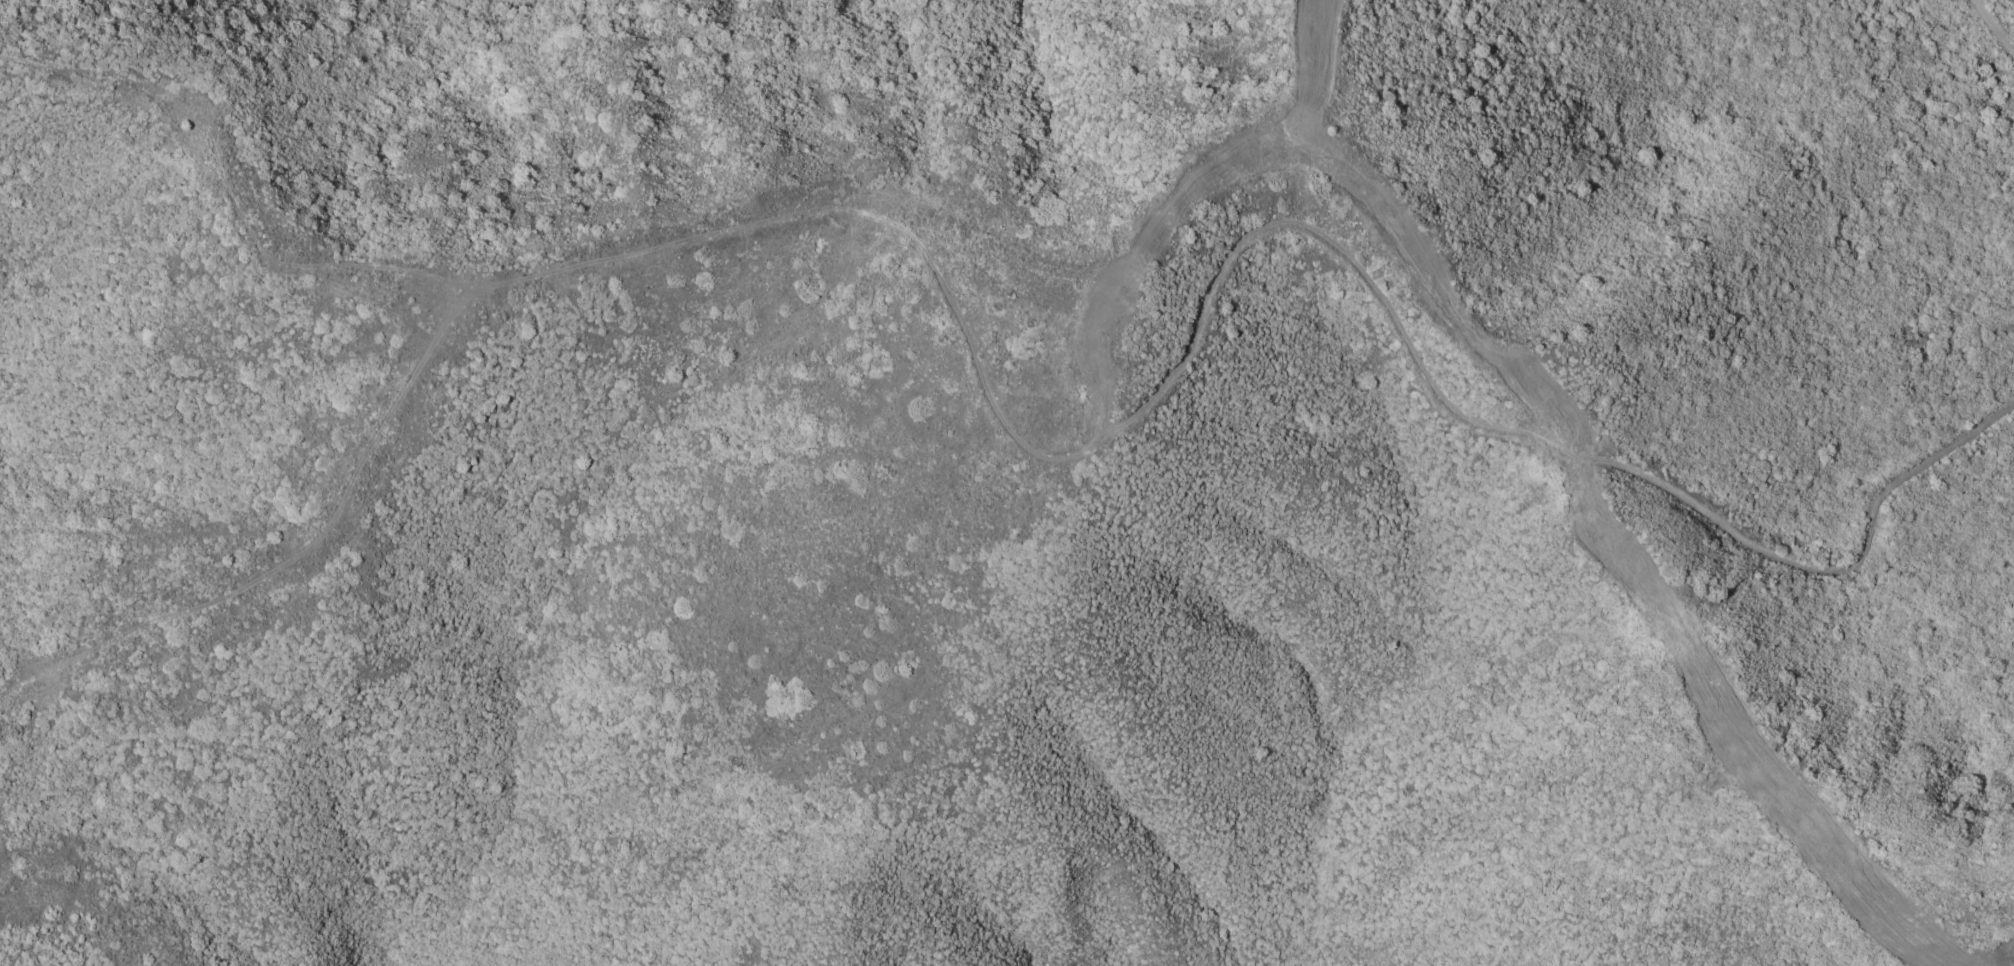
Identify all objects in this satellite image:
road: (1994, 26)
road: (538, 274)

